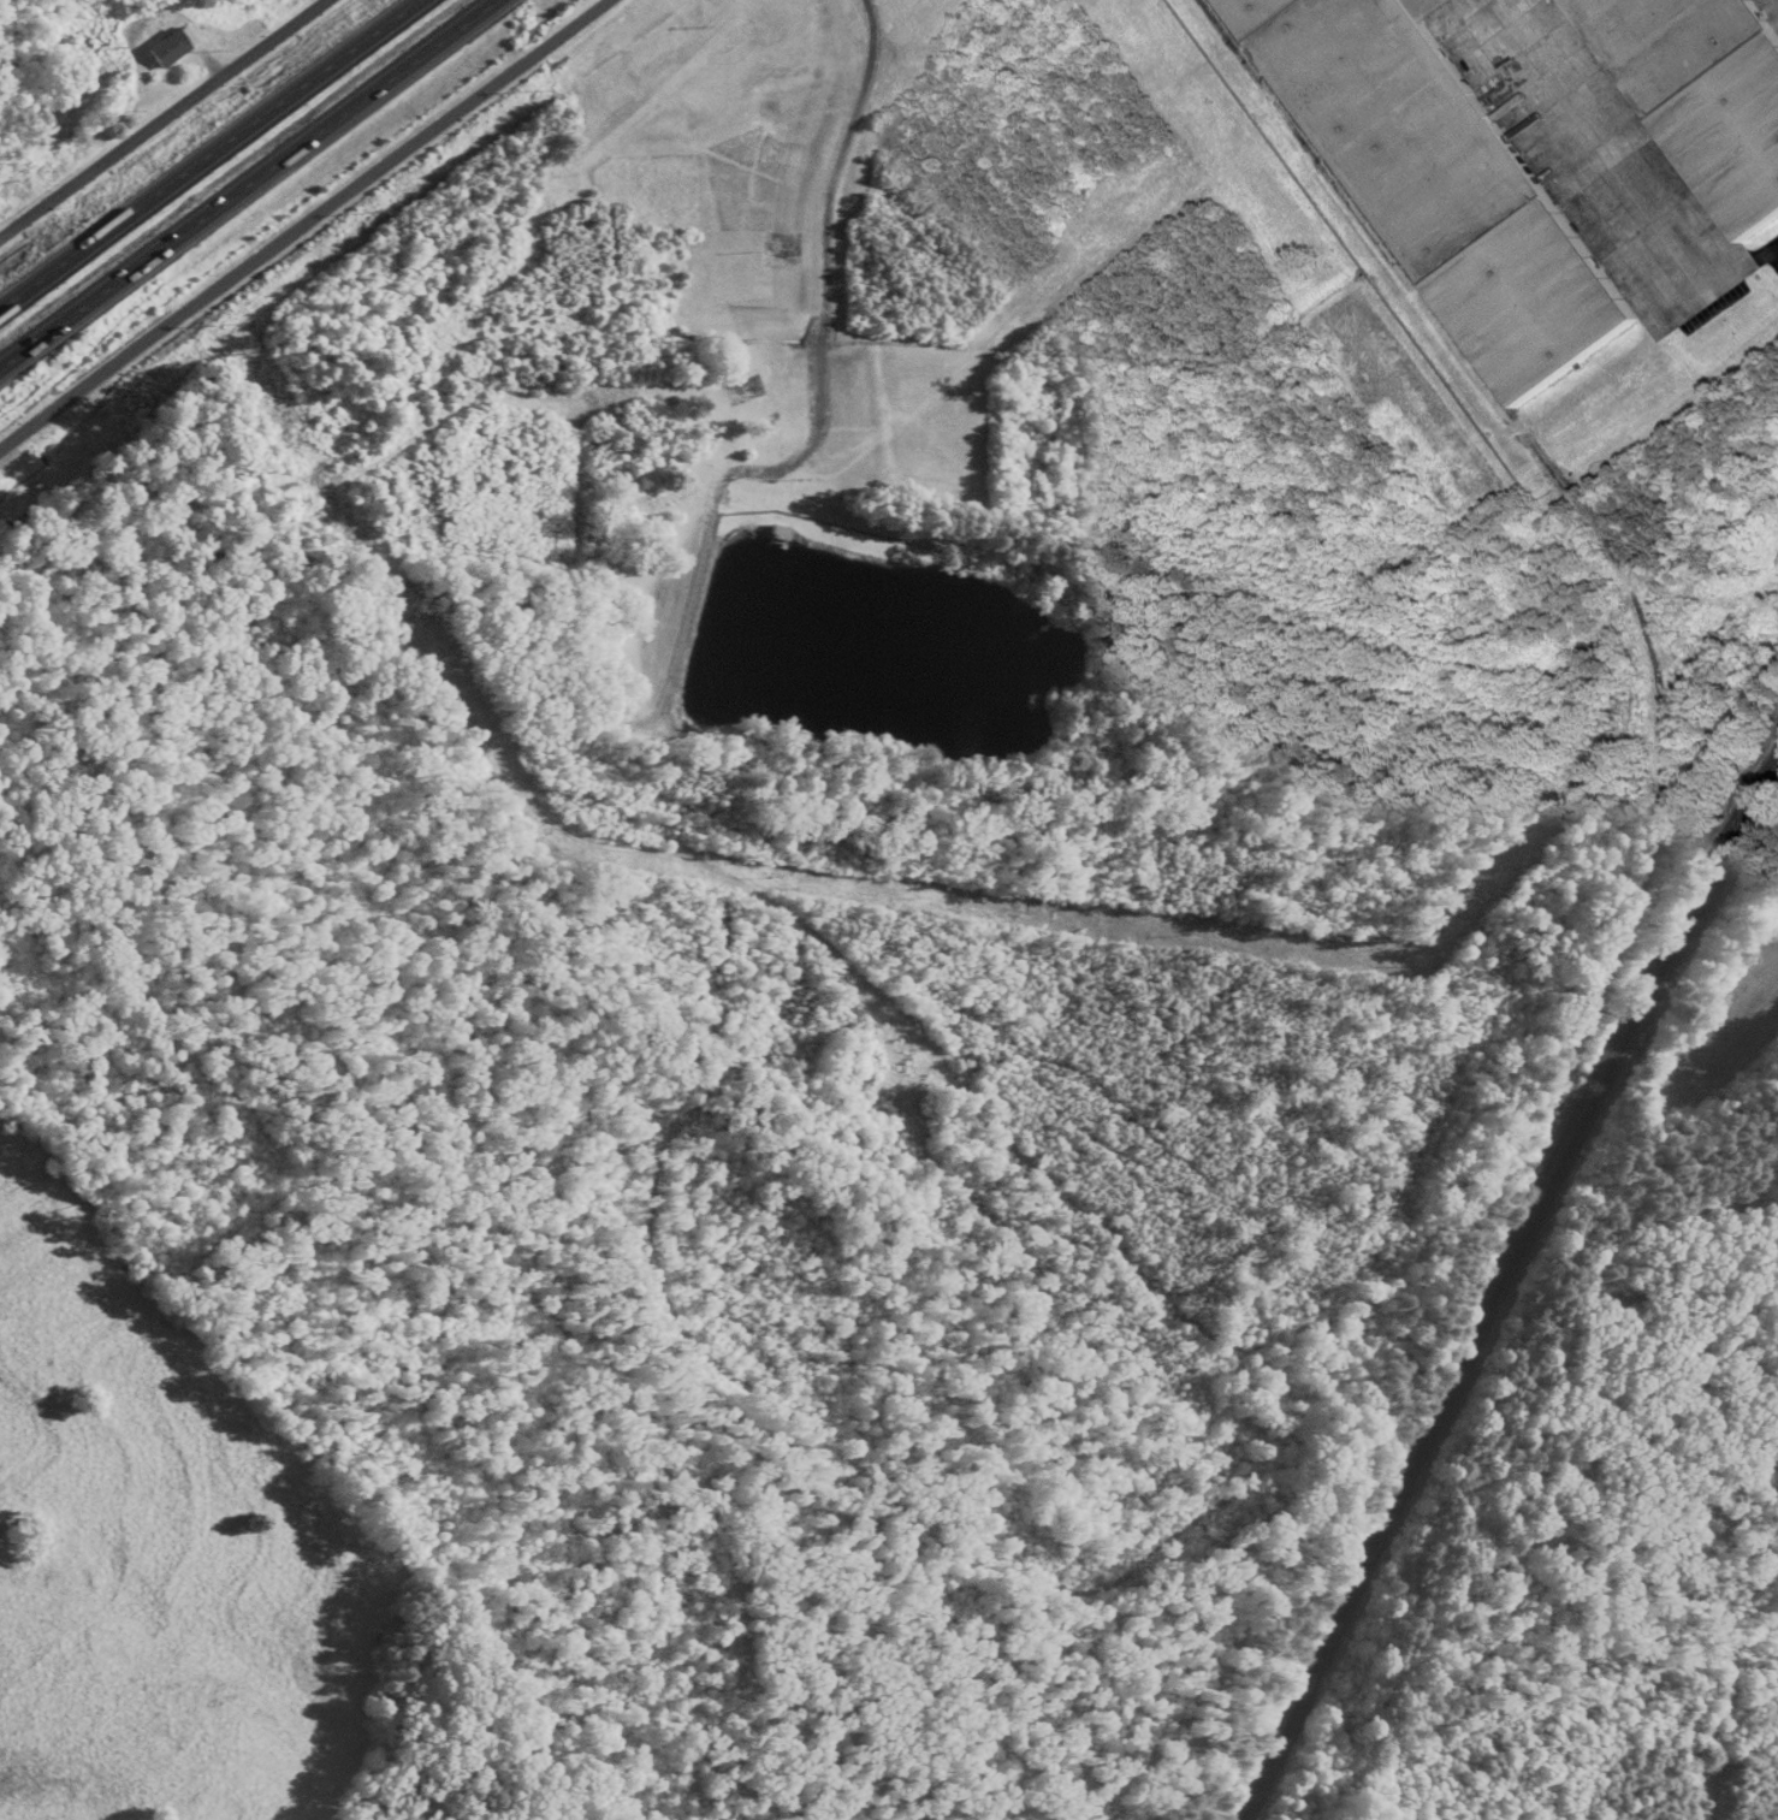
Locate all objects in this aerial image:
building: (168, 51)
building: (1701, 93)
road: (168, 124)
road: (209, 154)
road: (245, 180)
building: (1441, 182)
road: (304, 224)
road: (1768, 256)
building: (777, 536)
railway: (1640, 610)
railway: (1727, 835)
railway: (1507, 1303)
railway: (1452, 1365)

